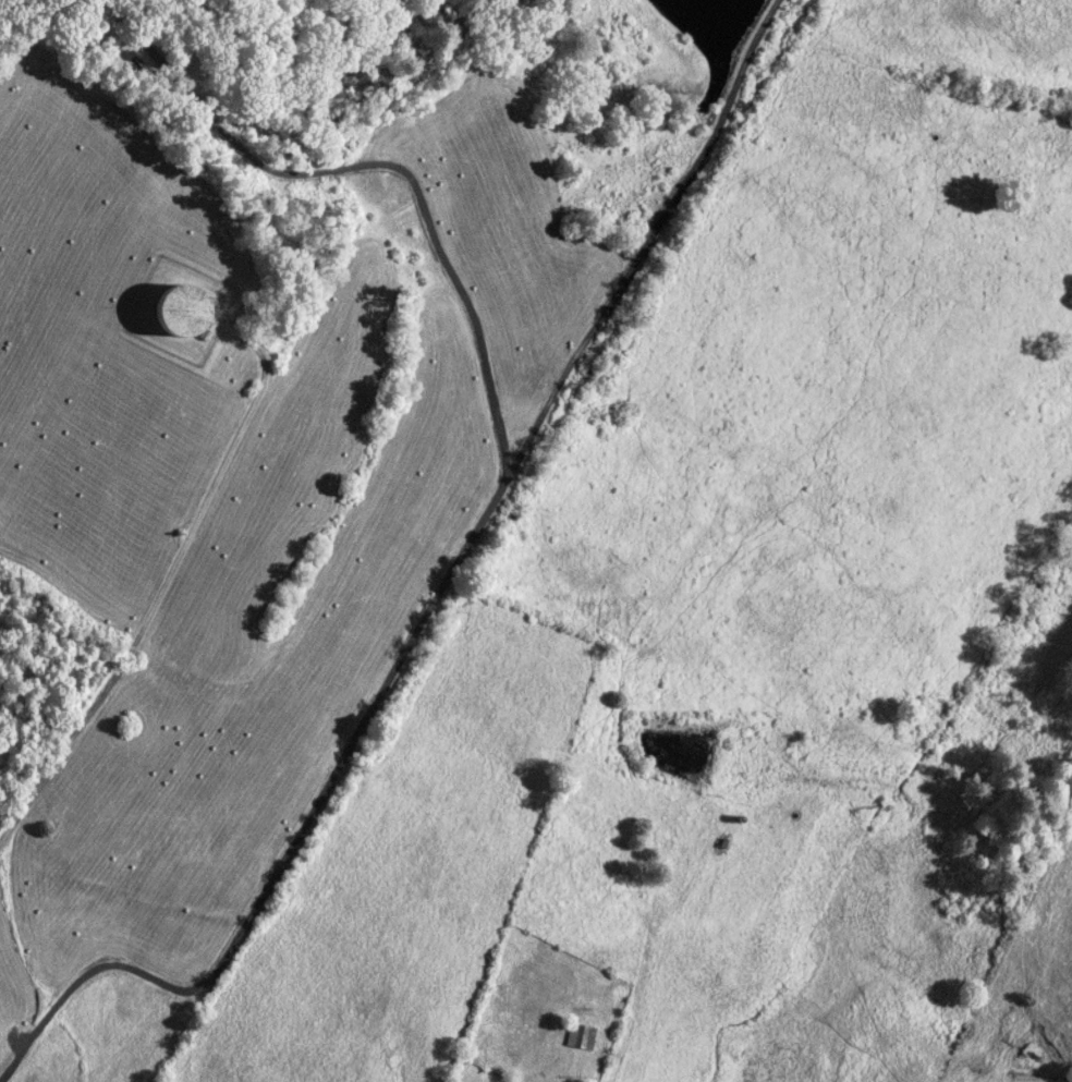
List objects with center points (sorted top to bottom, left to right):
building: (183, 312)
road: (161, 583)
road: (428, 608)
building: (581, 1034)
road: (609, 1074)

